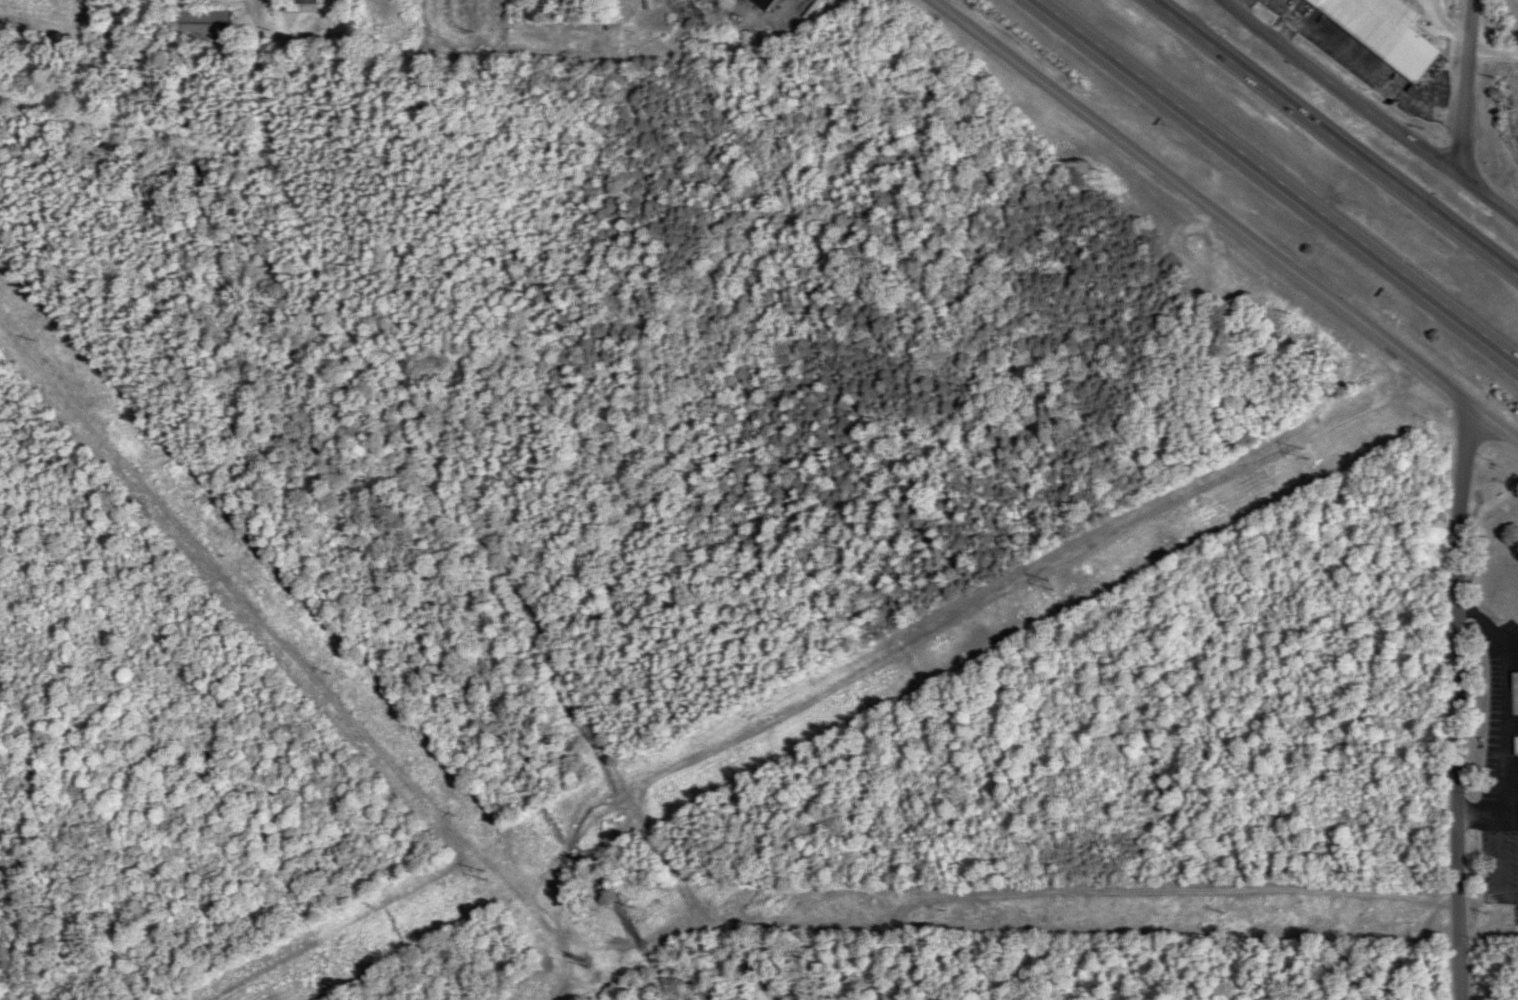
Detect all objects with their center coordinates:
building: (305, 2)
building: (760, 3)
road: (763, 14)
building: (199, 23)
road: (1470, 28)
building: (1383, 32)
road: (1493, 57)
road: (1343, 97)
road: (1466, 123)
road: (1332, 141)
road: (1276, 183)
road: (1496, 206)
road: (1223, 222)
road: (472, 518)
building: (1514, 682)
road: (1455, 706)
building: (1515, 746)

